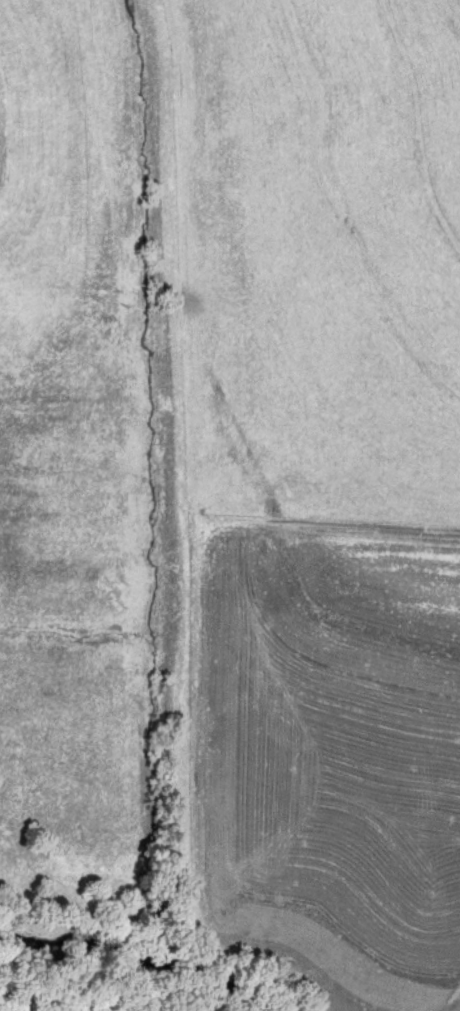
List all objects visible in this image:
river: (142, 954)

